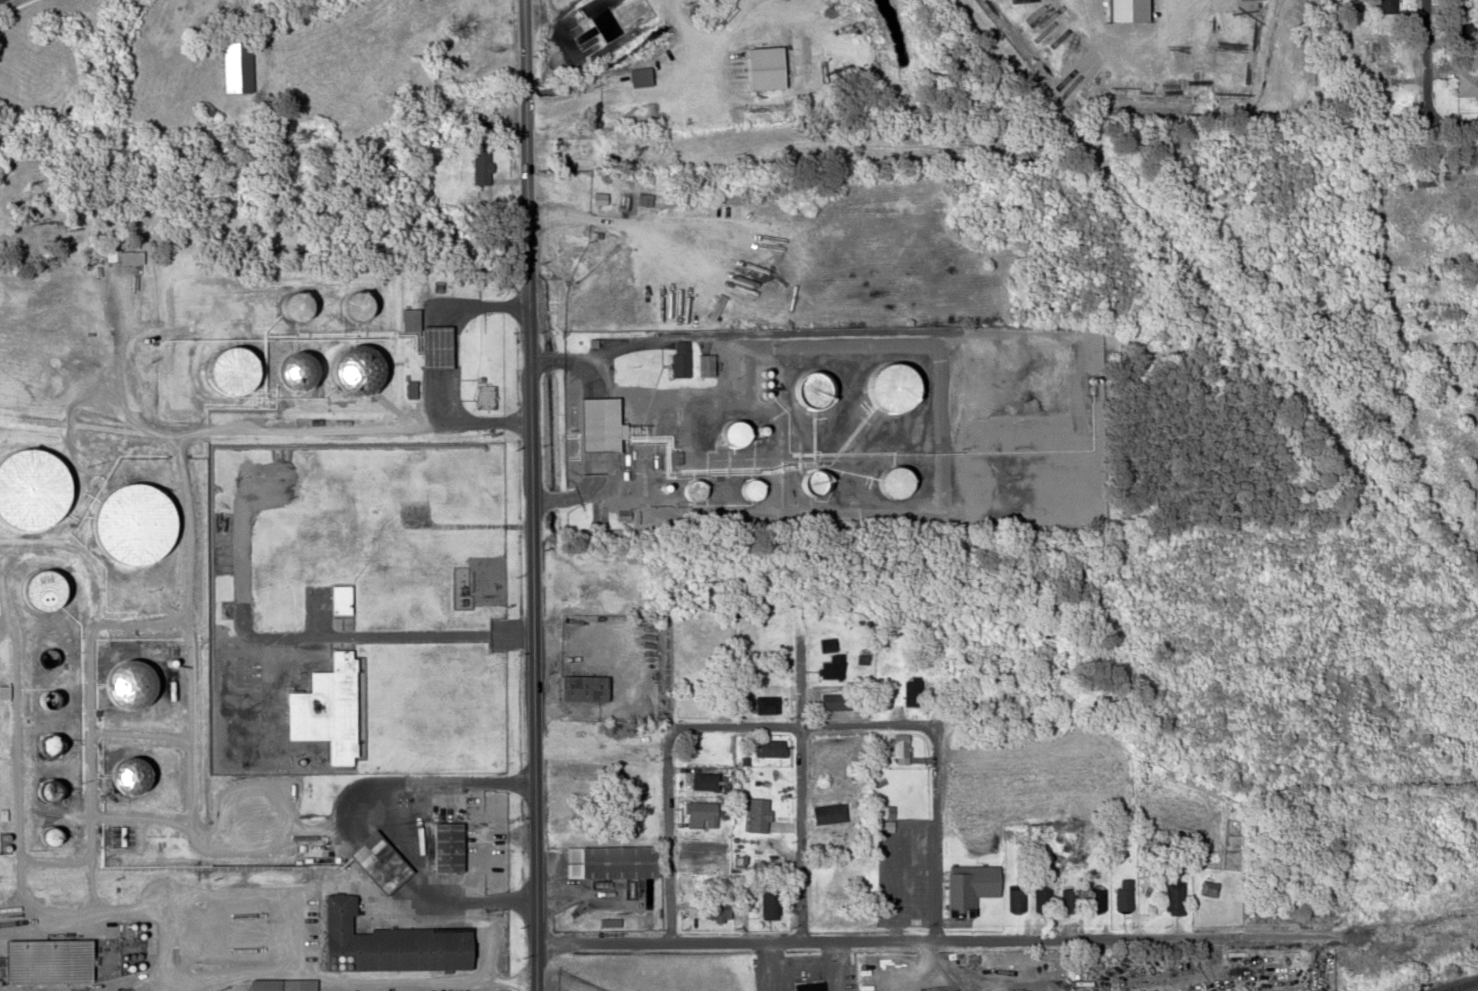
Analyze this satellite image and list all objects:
building: (1386, 6)
road: (1418, 60)
building: (235, 66)
building: (1381, 66)
building: (758, 67)
building: (635, 76)
building: (1467, 82)
road: (1447, 119)
building: (581, 146)
building: (478, 167)
building: (296, 305)
building: (346, 306)
building: (424, 340)
building: (679, 358)
building: (702, 365)
building: (224, 371)
building: (353, 371)
building: (483, 396)
building: (596, 424)
building: (734, 432)
building: (752, 488)
road: (527, 495)
building: (827, 643)
building: (832, 666)
building: (138, 677)
building: (581, 687)
building: (2, 690)
building: (911, 692)
building: (833, 700)
building: (969, 701)
building: (765, 704)
road: (815, 726)
building: (770, 747)
building: (899, 749)
road: (660, 769)
road: (786, 771)
building: (703, 780)
building: (828, 812)
building: (700, 813)
building: (756, 814)
road: (931, 820)
building: (445, 845)
building: (373, 861)
building: (608, 861)
parking lot: (906, 868)
building: (967, 887)
building: (1123, 894)
building: (1173, 897)
building: (1094, 898)
building: (1015, 899)
building: (1041, 899)
building: (1069, 899)
building: (716, 907)
road: (986, 938)
building: (384, 942)
building: (45, 961)
building: (277, 984)
railway: (1456, 984)
building: (809, 986)
building: (978, 990)

